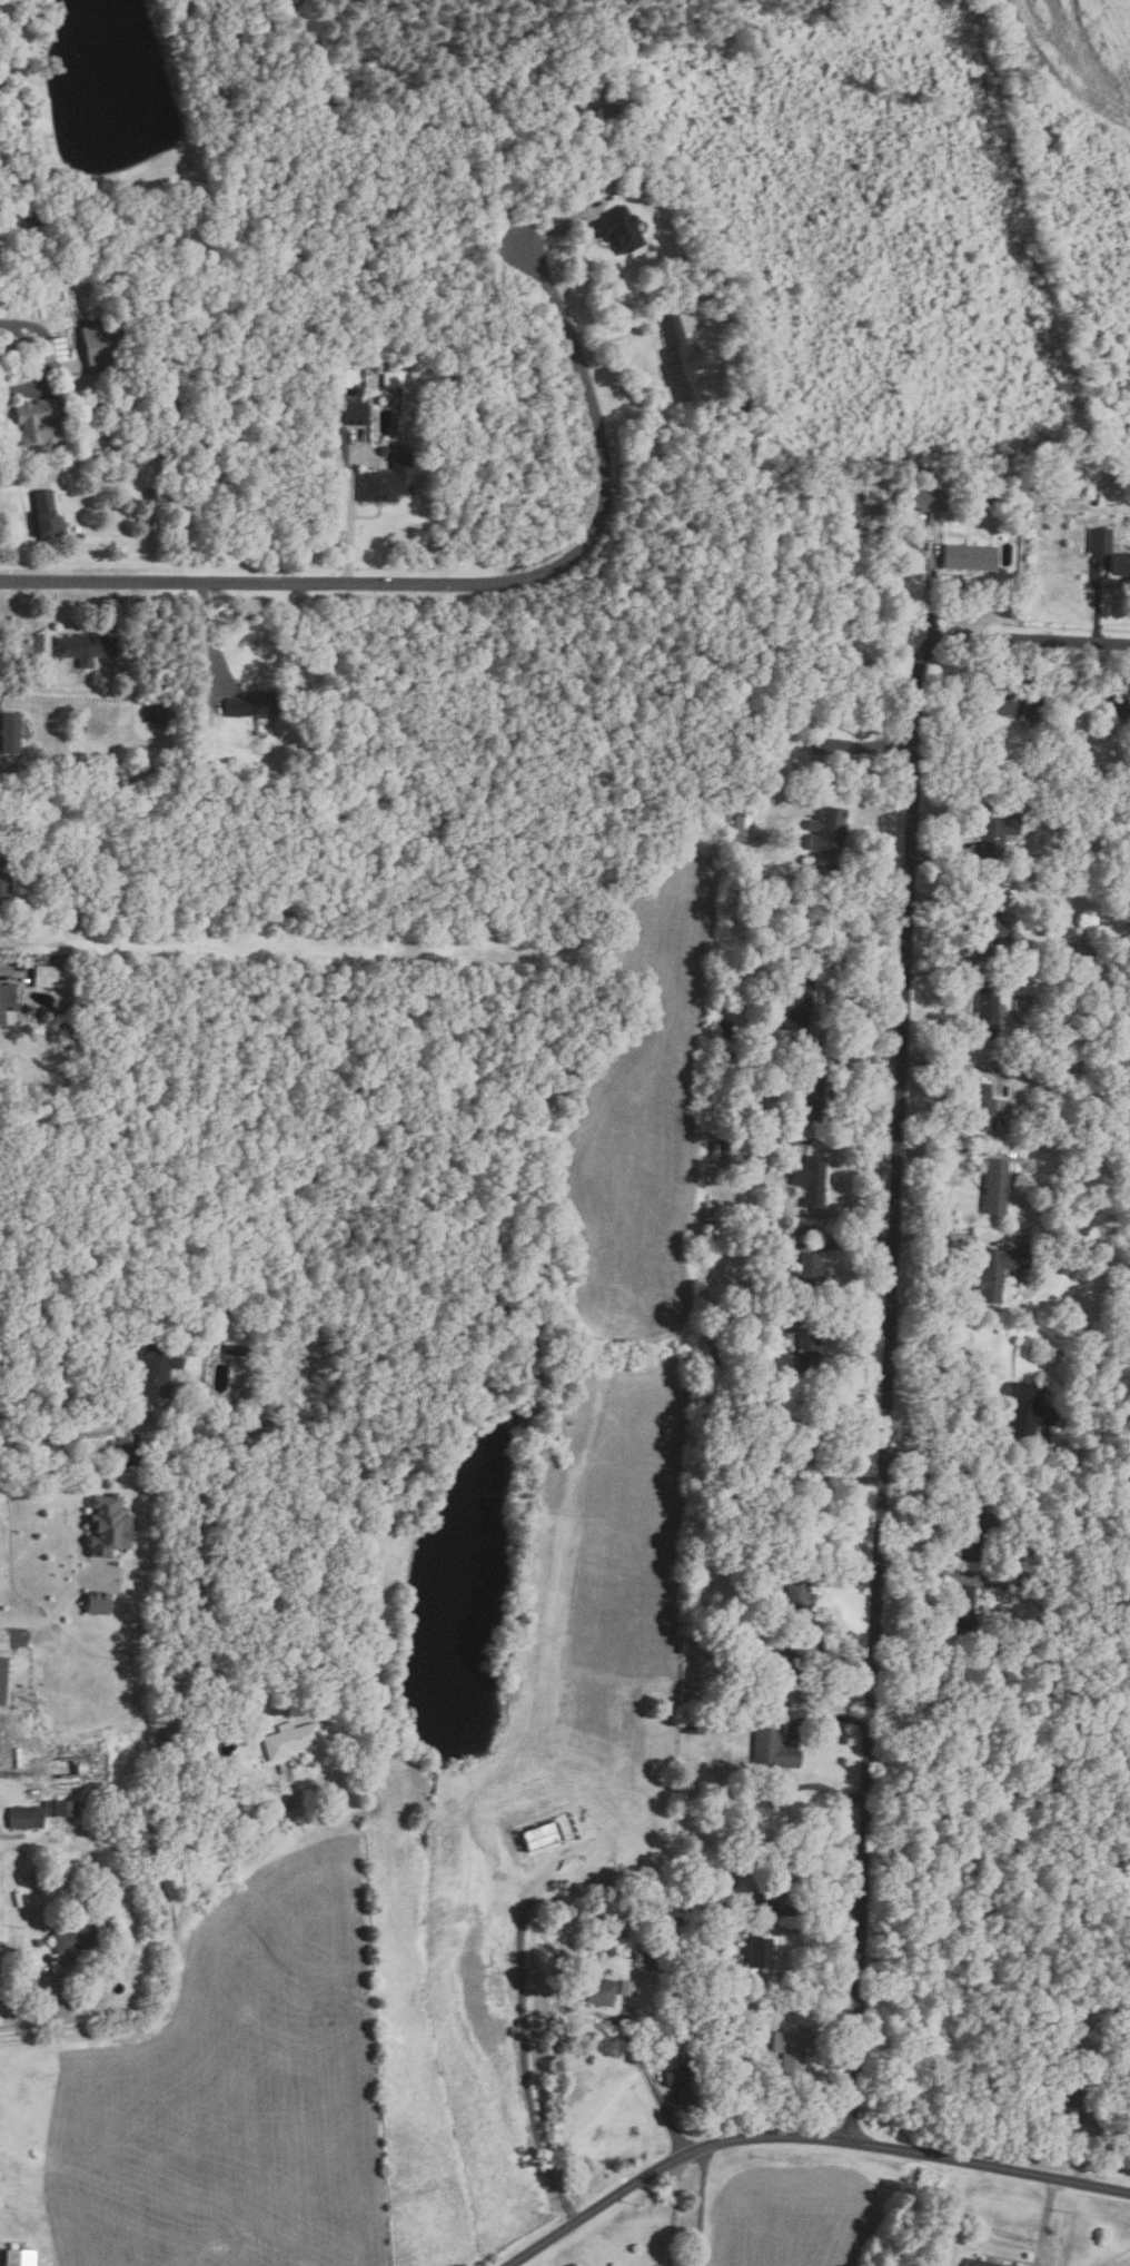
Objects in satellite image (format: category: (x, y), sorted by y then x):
building: (630, 185)
building: (38, 217)
road: (563, 225)
building: (618, 228)
building: (11, 288)
building: (6, 304)
road: (623, 328)
building: (128, 339)
building: (101, 345)
road: (31, 347)
building: (56, 350)
building: (678, 362)
building: (376, 370)
building: (343, 377)
building: (390, 379)
road: (22, 387)
building: (356, 393)
building: (351, 413)
building: (41, 424)
road: (22, 479)
building: (387, 479)
building: (151, 494)
building: (988, 494)
building: (871, 495)
building: (1080, 497)
building: (921, 498)
road: (351, 513)
building: (47, 515)
building: (1098, 541)
building: (969, 557)
building: (1120, 565)
road: (457, 584)
road: (931, 590)
road: (1096, 597)
road: (50, 631)
road: (209, 639)
building: (90, 647)
road: (1047, 673)
building: (1004, 703)
building: (248, 705)
building: (1119, 707)
building: (198, 709)
building: (160, 712)
building: (13, 732)
building: (831, 749)
building: (294, 766)
building: (1005, 774)
building: (1028, 774)
building: (1116, 781)
building: (726, 815)
building: (742, 828)
building: (995, 830)
building: (825, 831)
road: (941, 854)
building: (62, 862)
road: (859, 868)
building: (7, 882)
building: (68, 883)
building: (1011, 892)
road: (946, 913)
building: (987, 930)
building: (1082, 950)
road: (935, 958)
building: (27, 962)
road: (949, 970)
building: (53, 978)
building: (1071, 992)
building: (794, 998)
building: (9, 1000)
building: (984, 1015)
building: (725, 1029)
road: (826, 1030)
road: (855, 1058)
road: (961, 1065)
building: (1084, 1066)
building: (1054, 1069)
building: (807, 1094)
road: (847, 1102)
building: (979, 1106)
road: (851, 1144)
building: (722, 1149)
road: (955, 1151)
building: (1089, 1161)
building: (809, 1180)
building: (993, 1187)
building: (764, 1233)
road: (959, 1235)
road: (830, 1237)
building: (1086, 1244)
building: (995, 1271)
building: (806, 1275)
building: (1019, 1282)
road: (890, 1288)
road: (844, 1316)
building: (737, 1317)
building: (239, 1348)
building: (805, 1357)
building: (161, 1367)
building: (1025, 1411)
road: (80, 1435)
building: (803, 1437)
road: (943, 1454)
building: (1067, 1463)
building: (723, 1465)
building: (759, 1475)
road: (820, 1478)
road: (934, 1496)
building: (112, 1524)
building: (972, 1531)
road: (926, 1571)
building: (755, 1575)
road: (847, 1576)
building: (796, 1596)
building: (100, 1602)
road: (59, 1610)
building: (960, 1611)
road: (842, 1656)
building: (787, 1670)
building: (6, 1678)
building: (216, 1689)
building: (260, 1699)
road: (824, 1716)
building: (693, 1720)
building: (288, 1739)
building: (772, 1748)
road: (21, 1779)
road: (820, 1788)
building: (67, 1807)
building: (29, 1817)
building: (548, 1830)
building: (736, 1850)
building: (747, 1851)
building: (775, 1879)
building: (706, 1896)
road: (800, 1909)
building: (648, 1913)
building: (675, 1920)
building: (76, 1936)
road: (815, 1937)
building: (39, 1942)
building: (593, 1948)
building: (757, 1952)
road: (176, 1955)
building: (627, 1955)
building: (648, 1961)
building: (58, 1967)
building: (624, 1987)
building: (598, 1991)
road: (51, 2020)
building: (673, 2031)
road: (833, 2035)
road: (523, 2036)
building: (787, 2051)
building: (1127, 2064)
building: (678, 2080)
road: (654, 2084)
building: (1067, 2096)
road: (803, 2138)
road: (1086, 2154)
road: (695, 2206)
road: (673, 2210)
road: (1045, 2223)
building: (21, 2258)
building: (980, 2263)
building: (1010, 2265)

